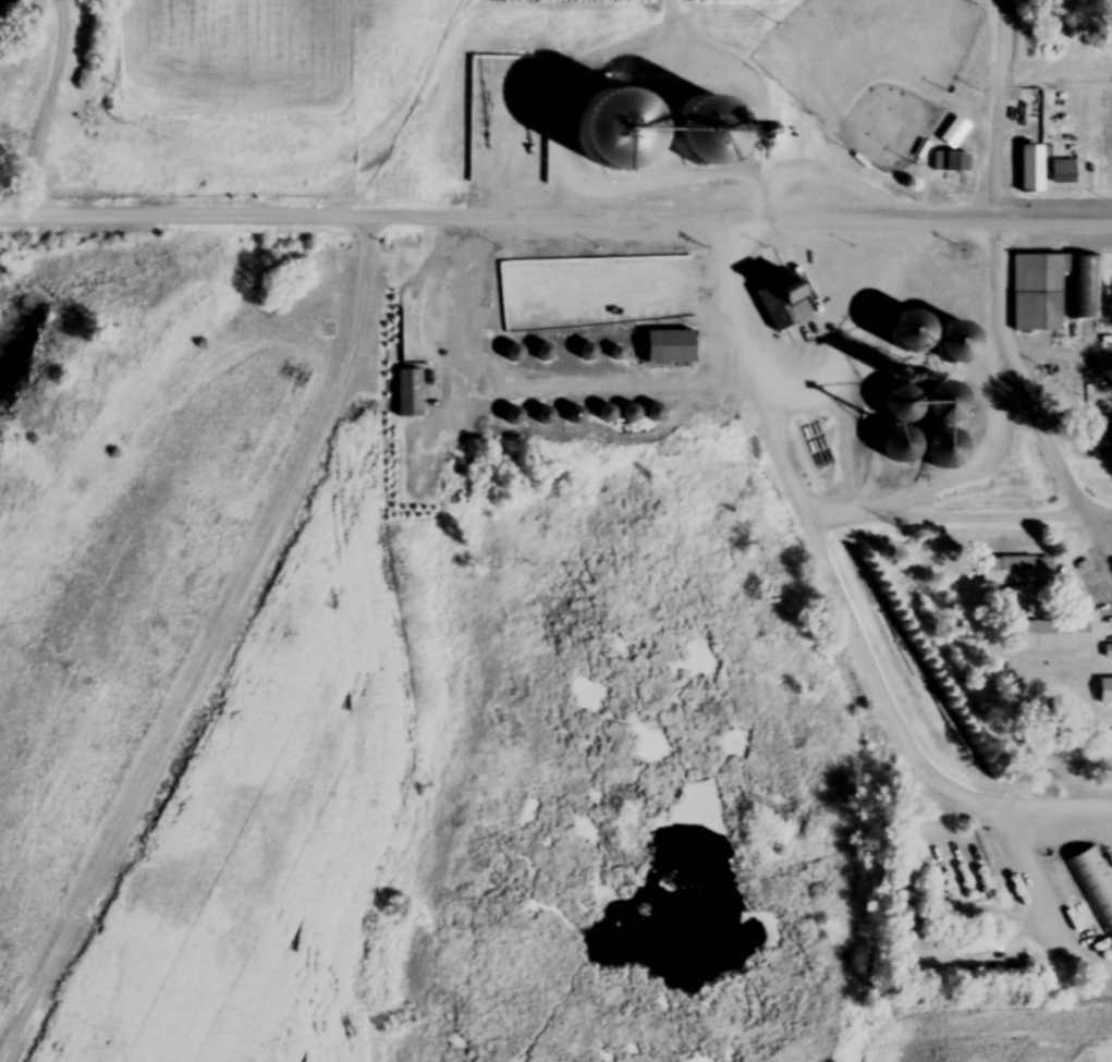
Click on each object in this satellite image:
park: (872, 71)
road: (1050, 81)
road: (49, 108)
road: (661, 118)
building: (596, 121)
building: (710, 151)
building: (953, 162)
building: (1032, 170)
building: (1065, 173)
road: (183, 218)
road: (738, 224)
building: (1053, 292)
road: (999, 298)
building: (671, 349)
road: (1058, 359)
road: (612, 388)
building: (442, 394)
building: (410, 395)
road: (957, 521)
road: (804, 524)
building: (1016, 572)
building: (1054, 636)
road: (209, 649)
building: (1107, 652)
road: (1029, 809)
building: (980, 888)
building: (1095, 892)
road: (1030, 906)

